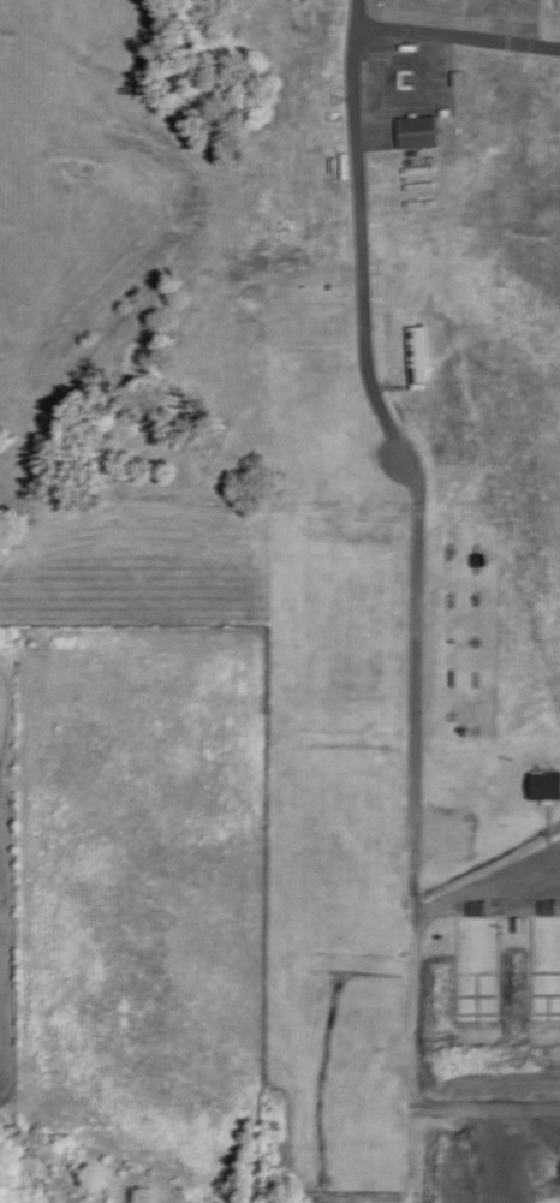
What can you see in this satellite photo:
building: (416, 131)
building: (417, 356)
road: (367, 377)
building: (544, 785)
road: (487, 882)
building: (477, 907)
road: (413, 1082)

